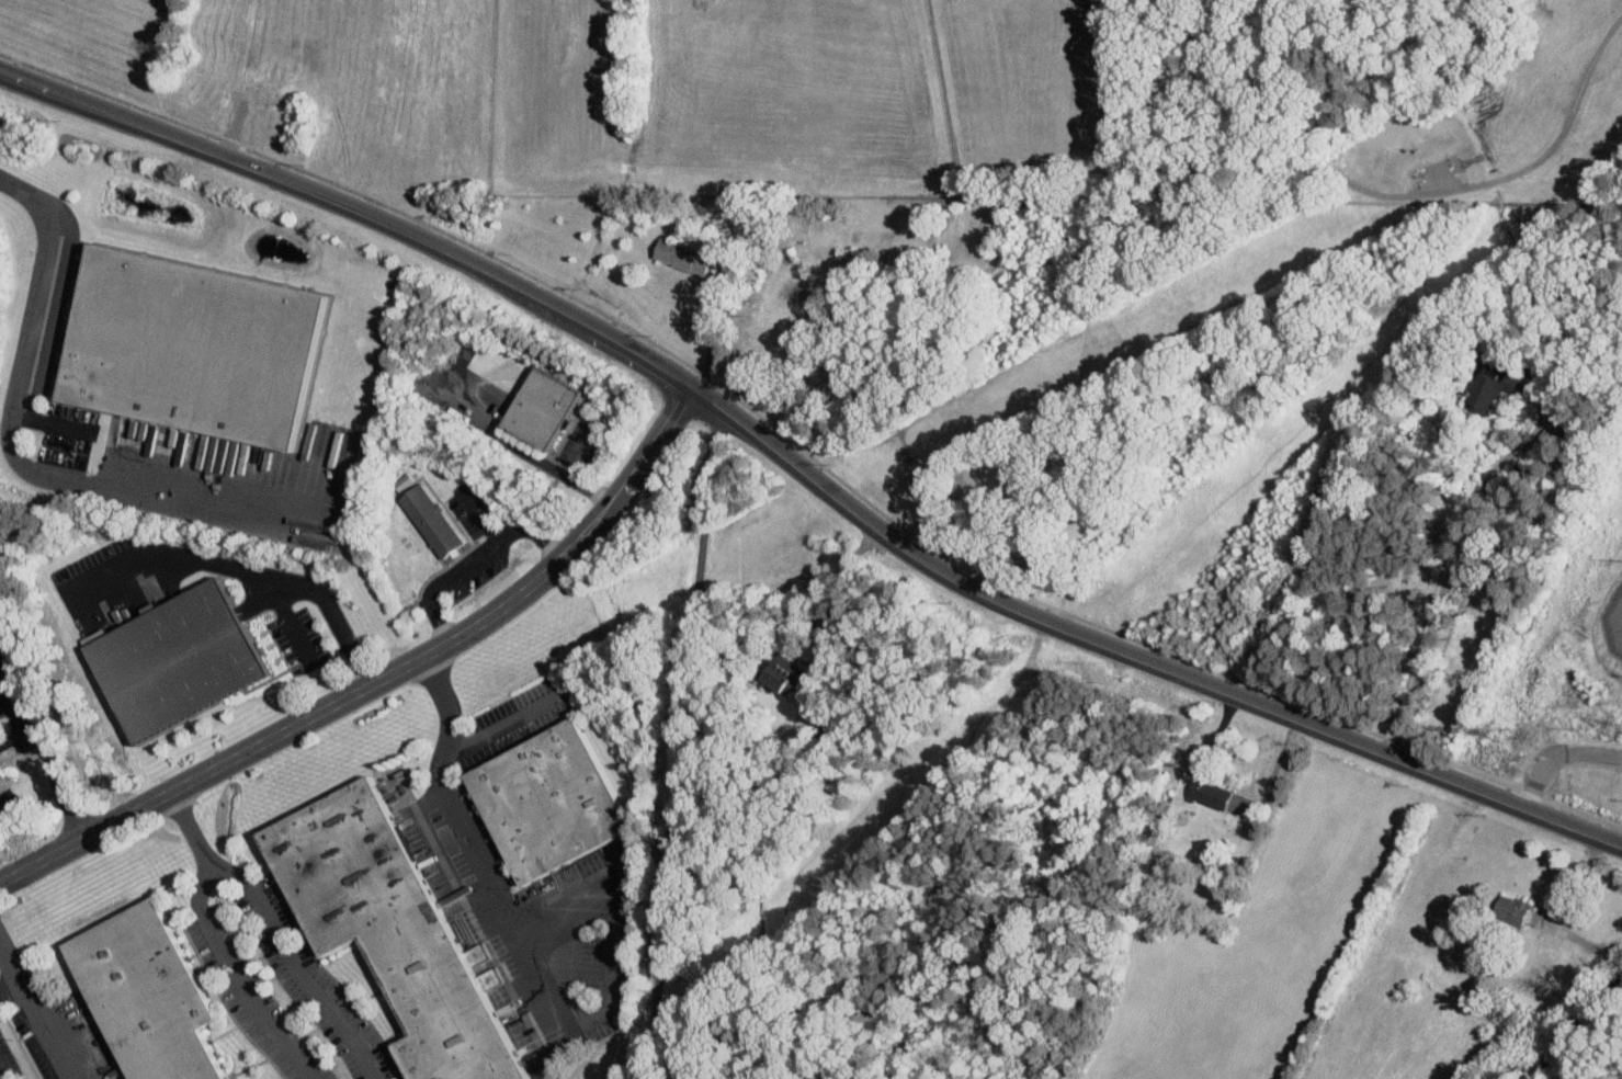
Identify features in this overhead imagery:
building: (693, 258)
building: (200, 342)
building: (1490, 389)
building: (544, 405)
road: (508, 442)
road: (649, 444)
road: (11, 447)
road: (806, 452)
road: (583, 454)
road: (804, 477)
road: (591, 490)
road: (480, 515)
building: (431, 523)
road: (476, 556)
road: (241, 566)
road: (1438, 602)
road: (835, 613)
power substation: (1615, 622)
building: (181, 657)
road: (317, 706)
road: (503, 723)
power tower: (1499, 731)
road: (679, 743)
road: (44, 749)
road: (1557, 757)
building: (2, 774)
building: (1216, 796)
building: (552, 798)
road: (193, 828)
road: (426, 829)
building: (1513, 909)
building: (394, 930)
road: (297, 968)
road: (13, 969)
road: (240, 981)
road: (536, 987)
building: (155, 995)
road: (45, 1027)
road: (682, 1068)

